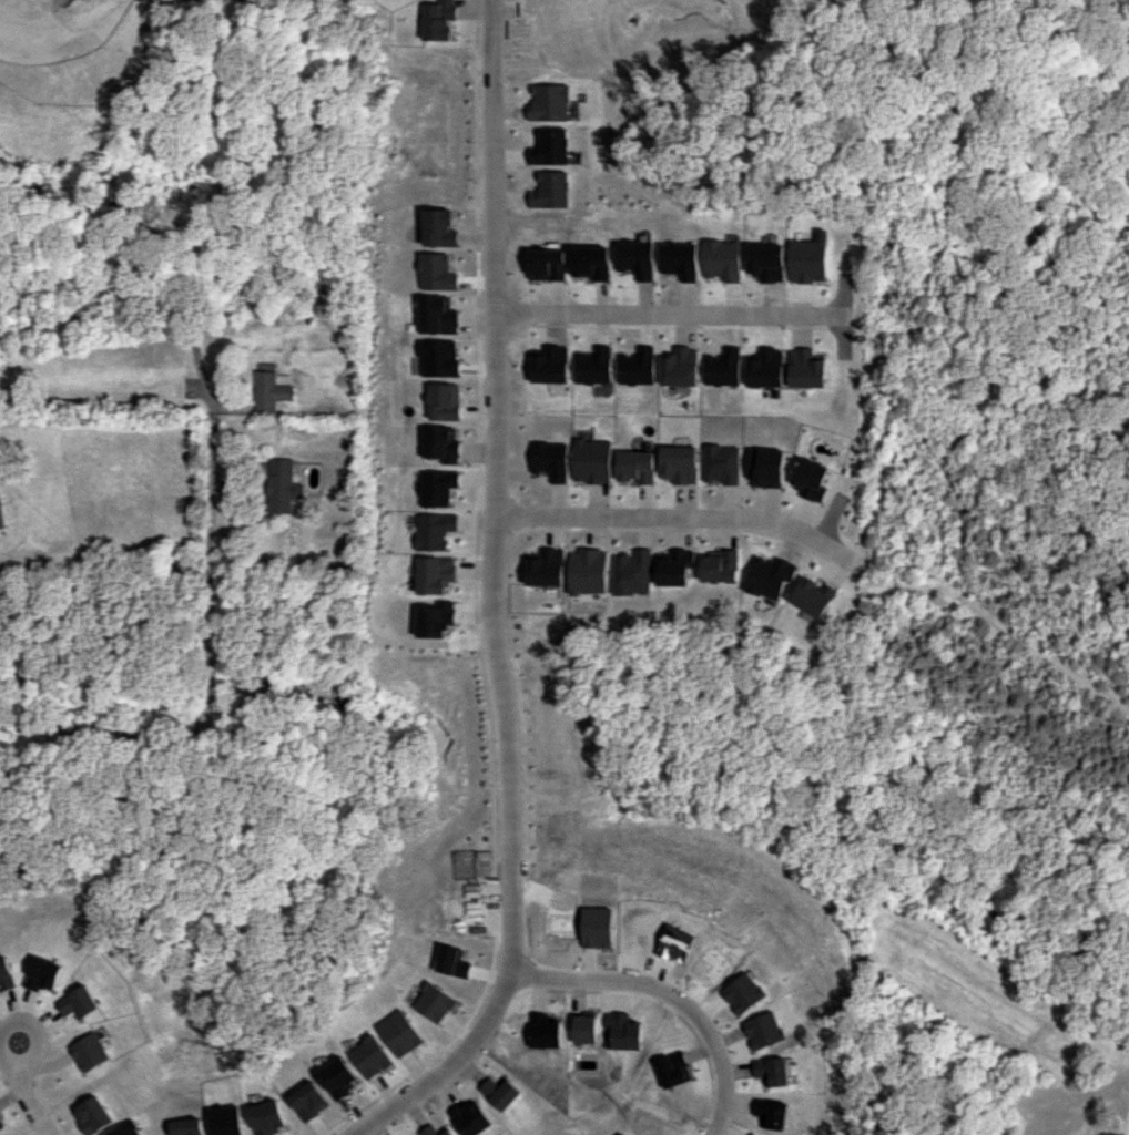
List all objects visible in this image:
road: (35, 13)
building: (441, 20)
building: (553, 102)
building: (552, 146)
building: (440, 227)
building: (721, 260)
building: (807, 260)
building: (765, 262)
building: (437, 272)
road: (665, 311)
building: (437, 315)
building: (437, 358)
building: (591, 366)
building: (678, 367)
building: (721, 367)
building: (764, 368)
building: (805, 368)
building: (269, 391)
building: (441, 401)
building: (438, 443)
building: (547, 460)
building: (589, 460)
building: (677, 463)
building: (719, 463)
building: (632, 466)
building: (764, 467)
building: (808, 479)
building: (282, 485)
building: (435, 487)
building: (1, 517)
road: (673, 517)
building: (433, 530)
building: (719, 565)
building: (545, 566)
building: (673, 566)
building: (587, 571)
building: (631, 572)
building: (435, 574)
building: (767, 575)
building: (812, 596)
road: (490, 604)
building: (437, 618)
road: (210, 627)
building: (450, 961)
building: (6, 973)
building: (43, 973)
road: (670, 990)
building: (398, 1033)
road: (24, 1090)
building: (126, 1129)

